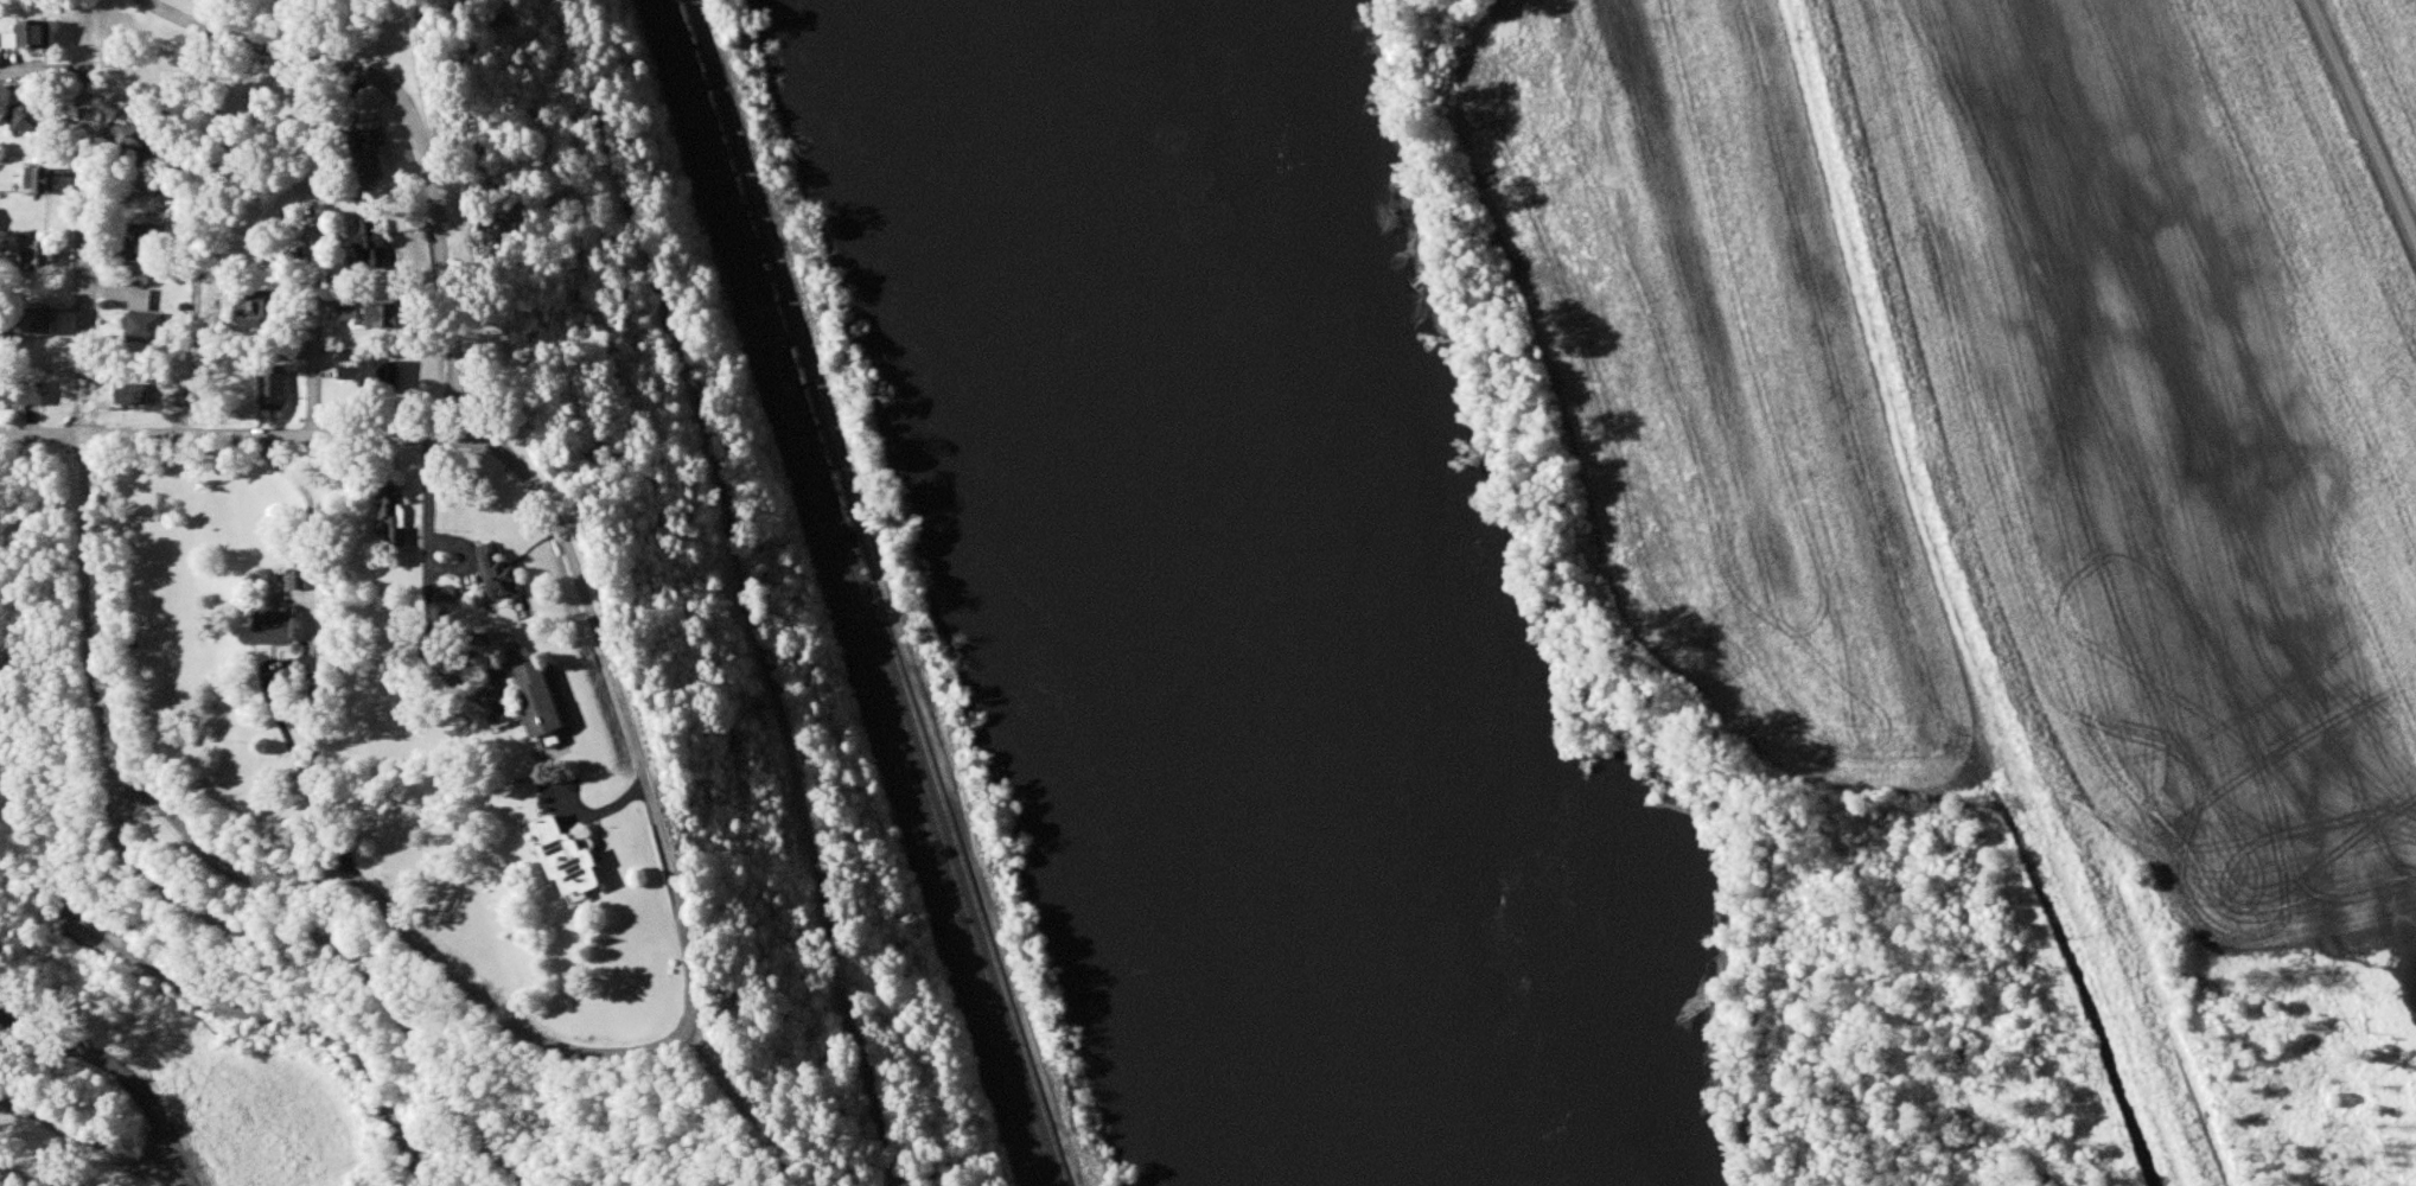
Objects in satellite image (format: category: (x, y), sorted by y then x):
building: (43, 38)
road: (45, 76)
building: (34, 116)
road: (2364, 117)
building: (146, 138)
building: (365, 157)
building: (43, 180)
building: (144, 242)
building: (375, 243)
building: (43, 251)
road: (87, 257)
building: (140, 300)
building: (257, 310)
building: (350, 313)
building: (385, 315)
road: (314, 323)
building: (30, 327)
building: (145, 329)
road: (454, 334)
building: (387, 377)
building: (274, 389)
building: (26, 394)
building: (133, 396)
road: (448, 412)
road: (255, 438)
railway: (804, 485)
building: (393, 515)
road: (428, 568)
building: (505, 579)
building: (299, 581)
road: (750, 587)
railway: (865, 592)
railway: (875, 592)
railway: (850, 593)
river: (1251, 594)
road: (83, 619)
building: (280, 629)
road: (289, 662)
building: (544, 697)
road: (314, 721)
building: (573, 860)
road: (694, 918)
road: (408, 931)
road: (338, 948)
park: (410, 1048)
railway: (996, 1078)
road: (76, 1092)
road: (83, 1140)

